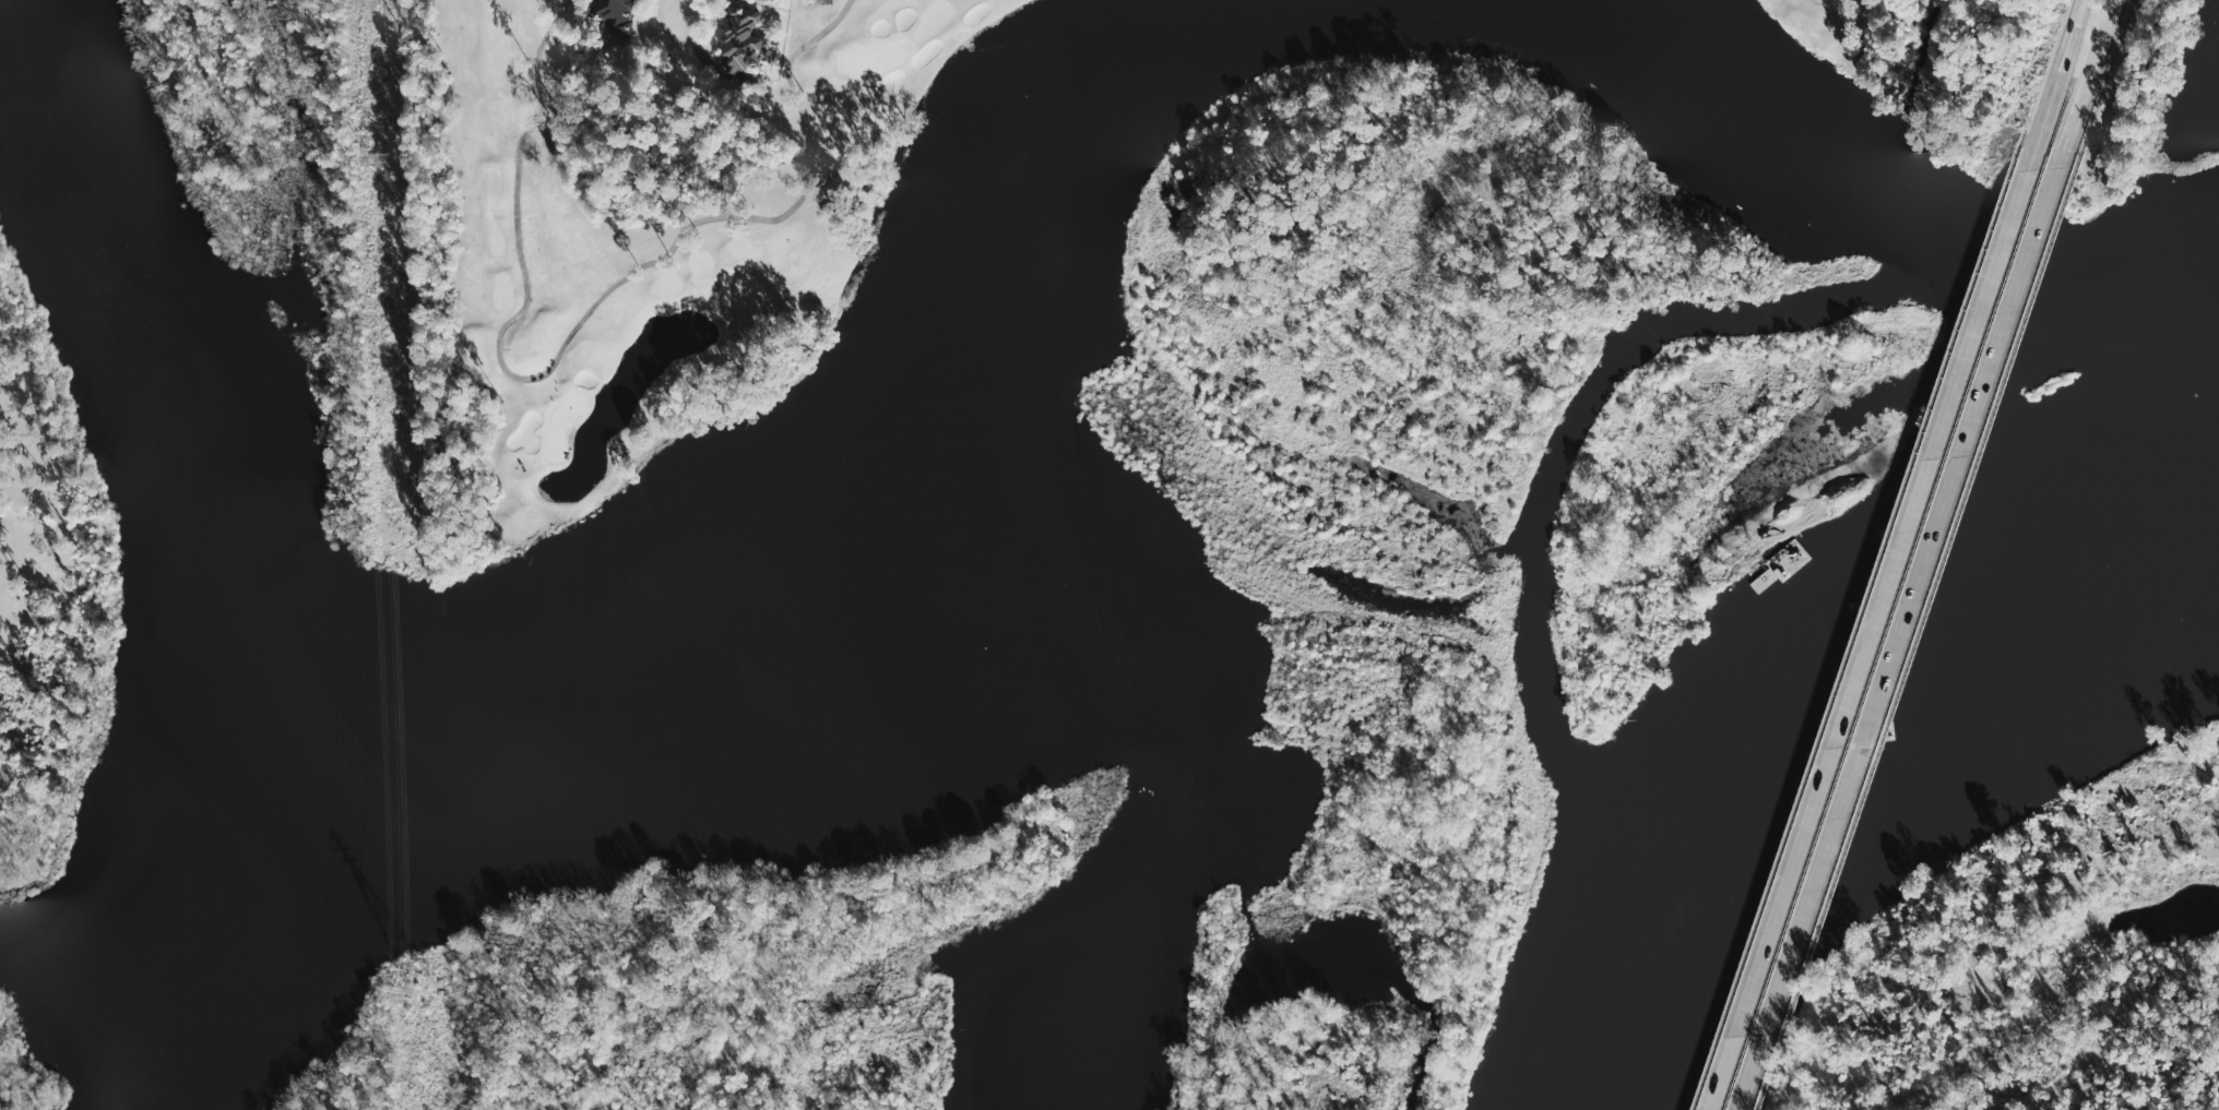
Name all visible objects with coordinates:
road: (684, 5)
building: (614, 17)
building: (739, 39)
park: (1772, 39)
road: (681, 43)
road: (2086, 83)
road: (2104, 83)
road: (2056, 85)
power tower: (382, 157)
park: (703, 248)
road: (579, 323)
park: (11, 569)
road: (1914, 637)
road: (1899, 638)
road: (1868, 640)
river: (1839, 714)
power tower: (424, 987)

